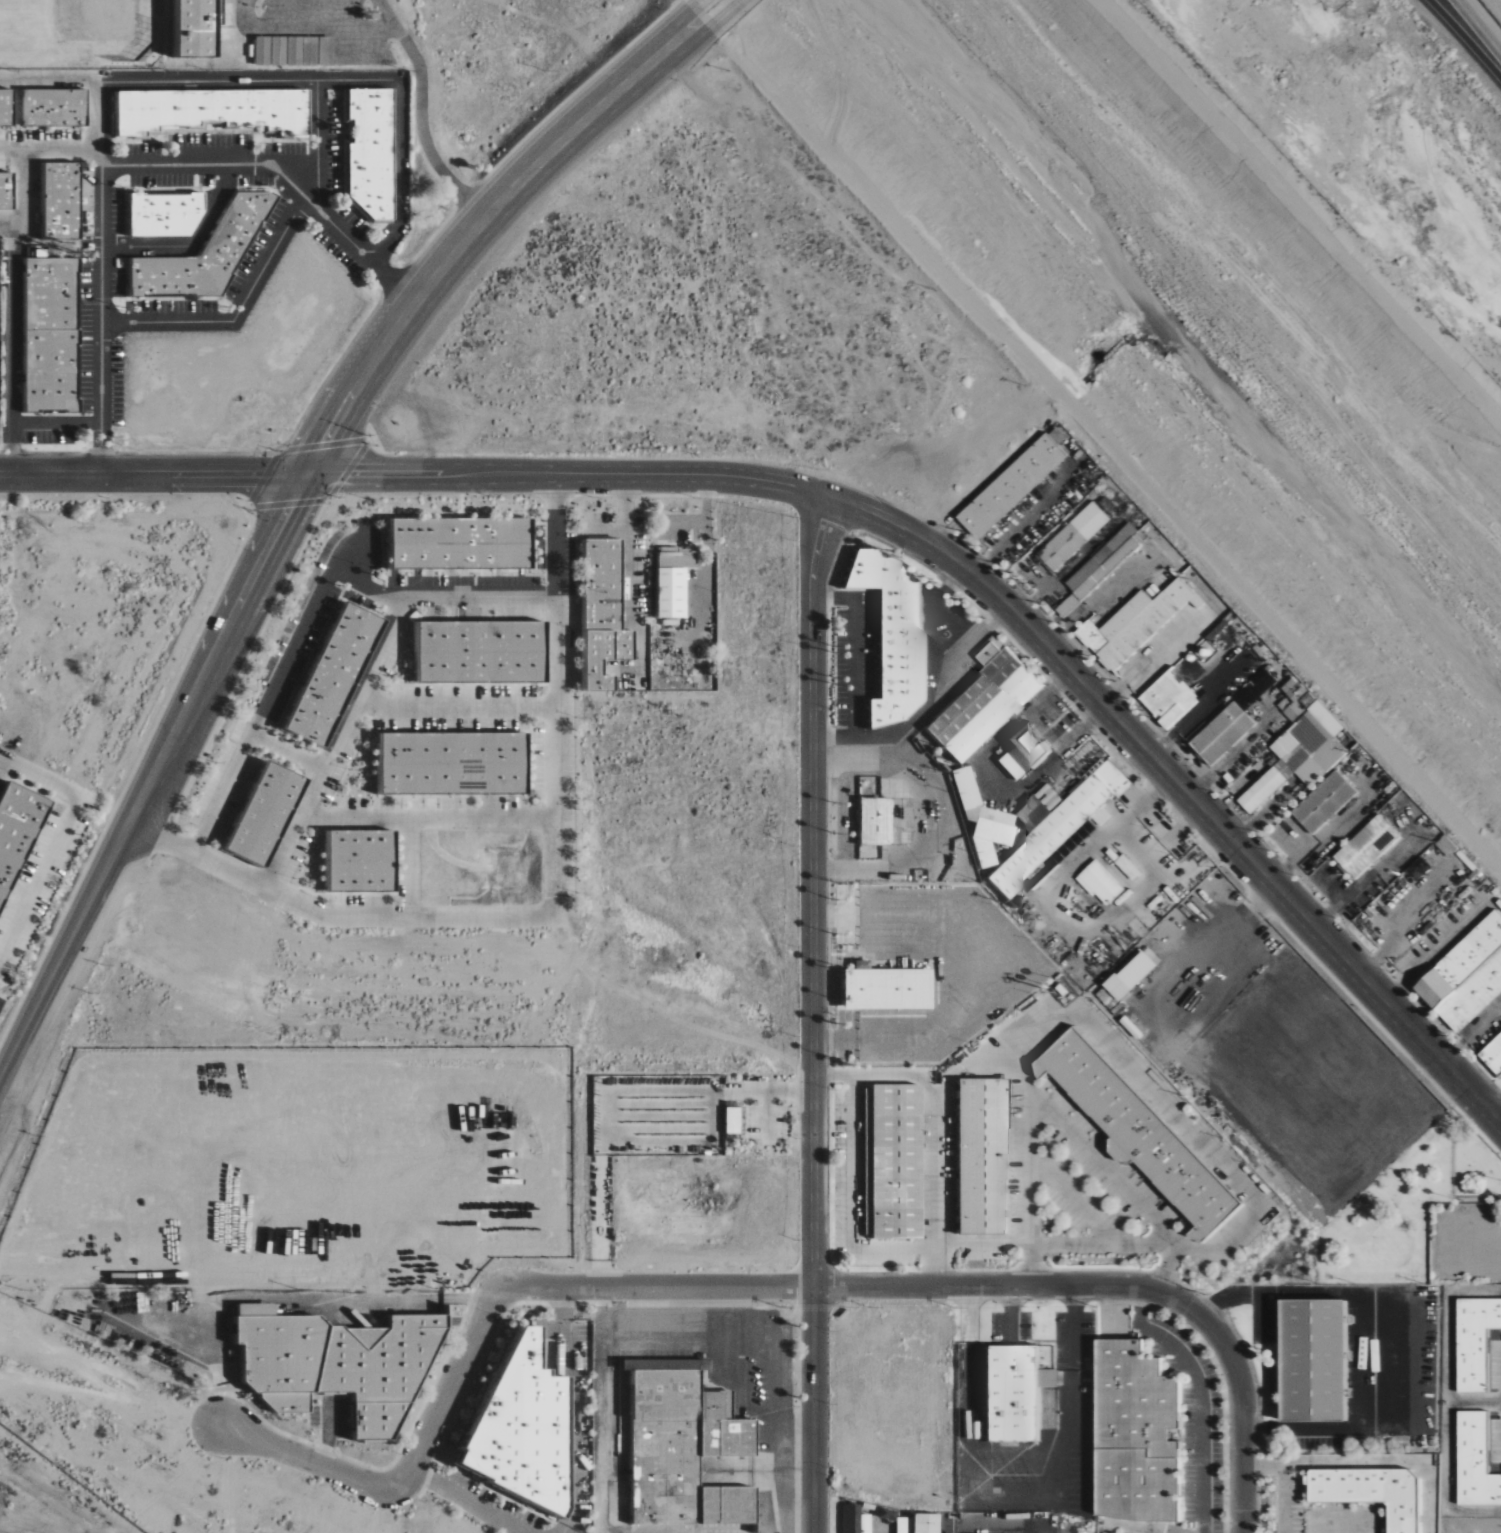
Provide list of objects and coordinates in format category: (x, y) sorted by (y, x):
road: (700, 5)
road: (730, 16)
road: (1480, 24)
road: (324, 25)
building: (200, 27)
road: (676, 34)
road: (1465, 38)
road: (684, 44)
building: (295, 51)
road: (293, 79)
building: (6, 106)
building: (57, 107)
building: (215, 110)
road: (100, 113)
road: (420, 129)
road: (317, 143)
road: (59, 146)
building: (373, 152)
road: (131, 164)
road: (22, 189)
building: (7, 191)
building: (58, 201)
building: (167, 215)
road: (191, 245)
road: (461, 246)
building: (208, 254)
road: (235, 316)
building: (53, 335)
road: (6, 345)
road: (53, 424)
road: (1103, 439)
road: (156, 475)
building: (1010, 486)
building: (1072, 536)
building: (463, 543)
road: (628, 546)
building: (1093, 573)
building: (674, 582)
road: (1004, 598)
building: (605, 612)
building: (1132, 624)
building: (889, 632)
road: (853, 648)
building: (483, 652)
building: (336, 674)
road: (929, 693)
building: (1167, 699)
building: (981, 703)
road: (457, 707)
road: (262, 709)
road: (1205, 709)
building: (1221, 733)
building: (1299, 744)
building: (1020, 751)
building: (456, 764)
road: (150, 773)
road: (997, 773)
building: (1323, 802)
building: (267, 815)
road: (428, 818)
building: (980, 819)
building: (871, 821)
building: (1053, 826)
building: (17, 833)
road: (57, 835)
road: (158, 836)
building: (1366, 846)
building: (364, 861)
road: (411, 867)
building: (1127, 867)
building: (1099, 883)
road: (275, 893)
road: (1436, 950)
building: (1465, 975)
building: (1115, 987)
building: (881, 988)
road: (1, 1008)
road: (813, 1011)
road: (15, 1014)
road: (1092, 1031)
road: (1471, 1033)
building: (1492, 1055)
road: (833, 1078)
road: (1496, 1107)
building: (729, 1120)
building: (1135, 1133)
building: (977, 1156)
building: (889, 1161)
road: (1028, 1169)
road: (881, 1248)
road: (758, 1283)
building: (1473, 1341)
building: (1309, 1361)
building: (341, 1362)
building: (1009, 1393)
road: (1200, 1393)
road: (1474, 1401)
road: (1446, 1402)
building: (527, 1427)
building: (1132, 1435)
building: (689, 1447)
building: (1474, 1462)
road: (1366, 1463)
building: (1369, 1493)
road: (1286, 1499)
road: (471, 1501)
road: (1341, 1518)
building: (853, 1520)
building: (915, 1524)

